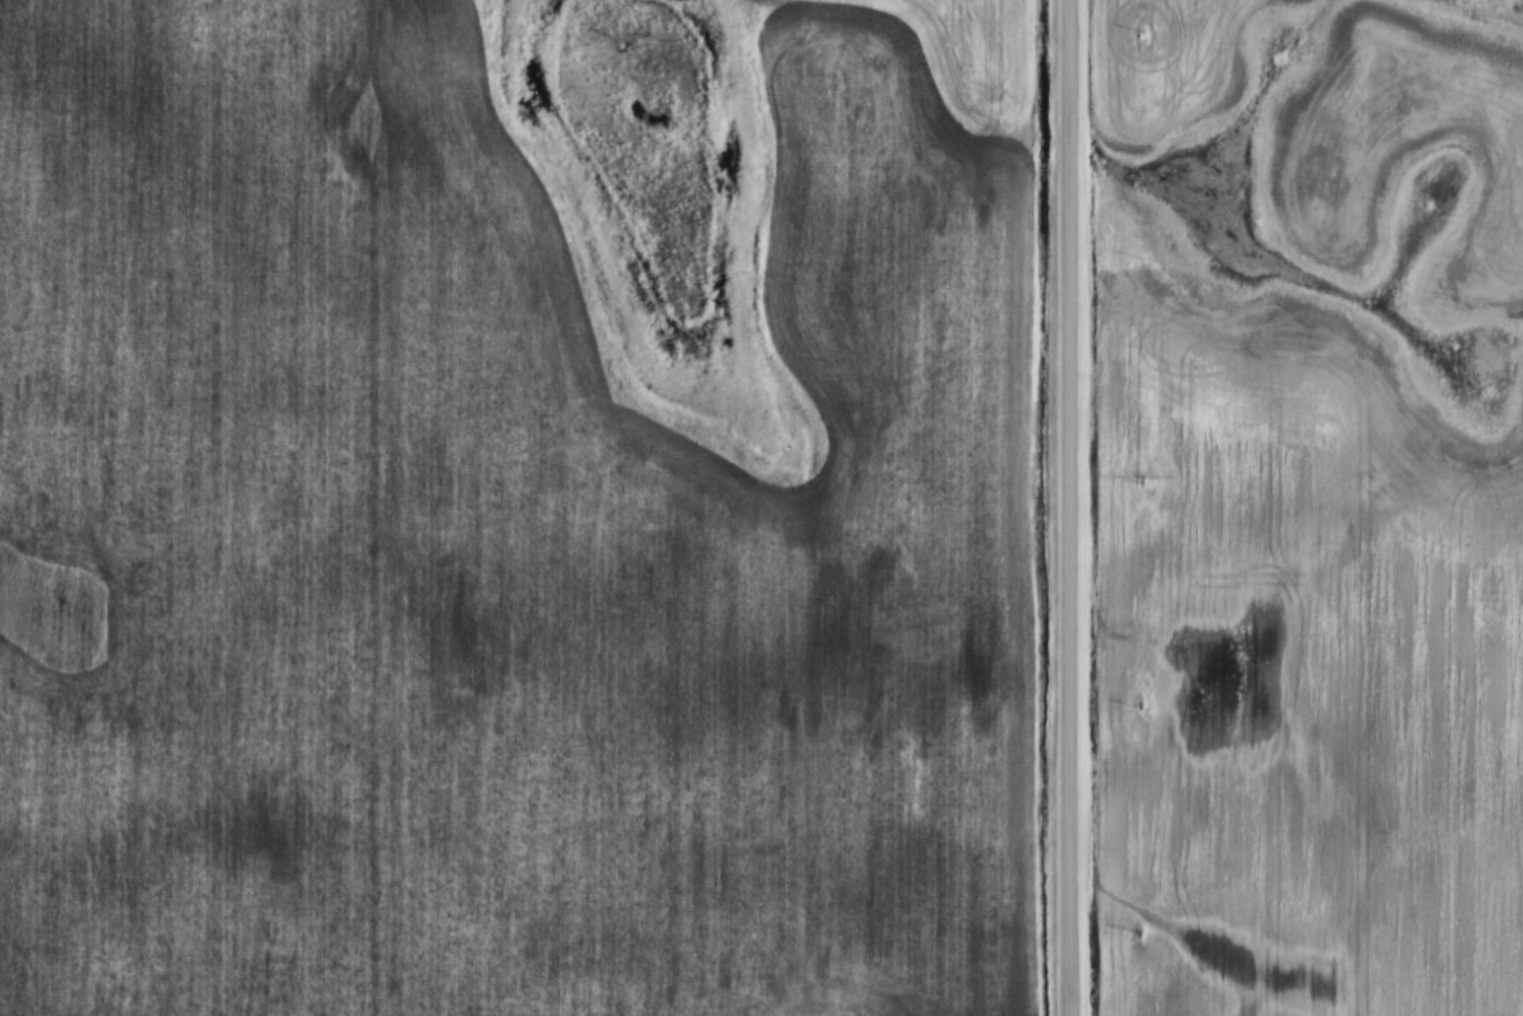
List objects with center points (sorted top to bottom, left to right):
road: (1068, 508)

